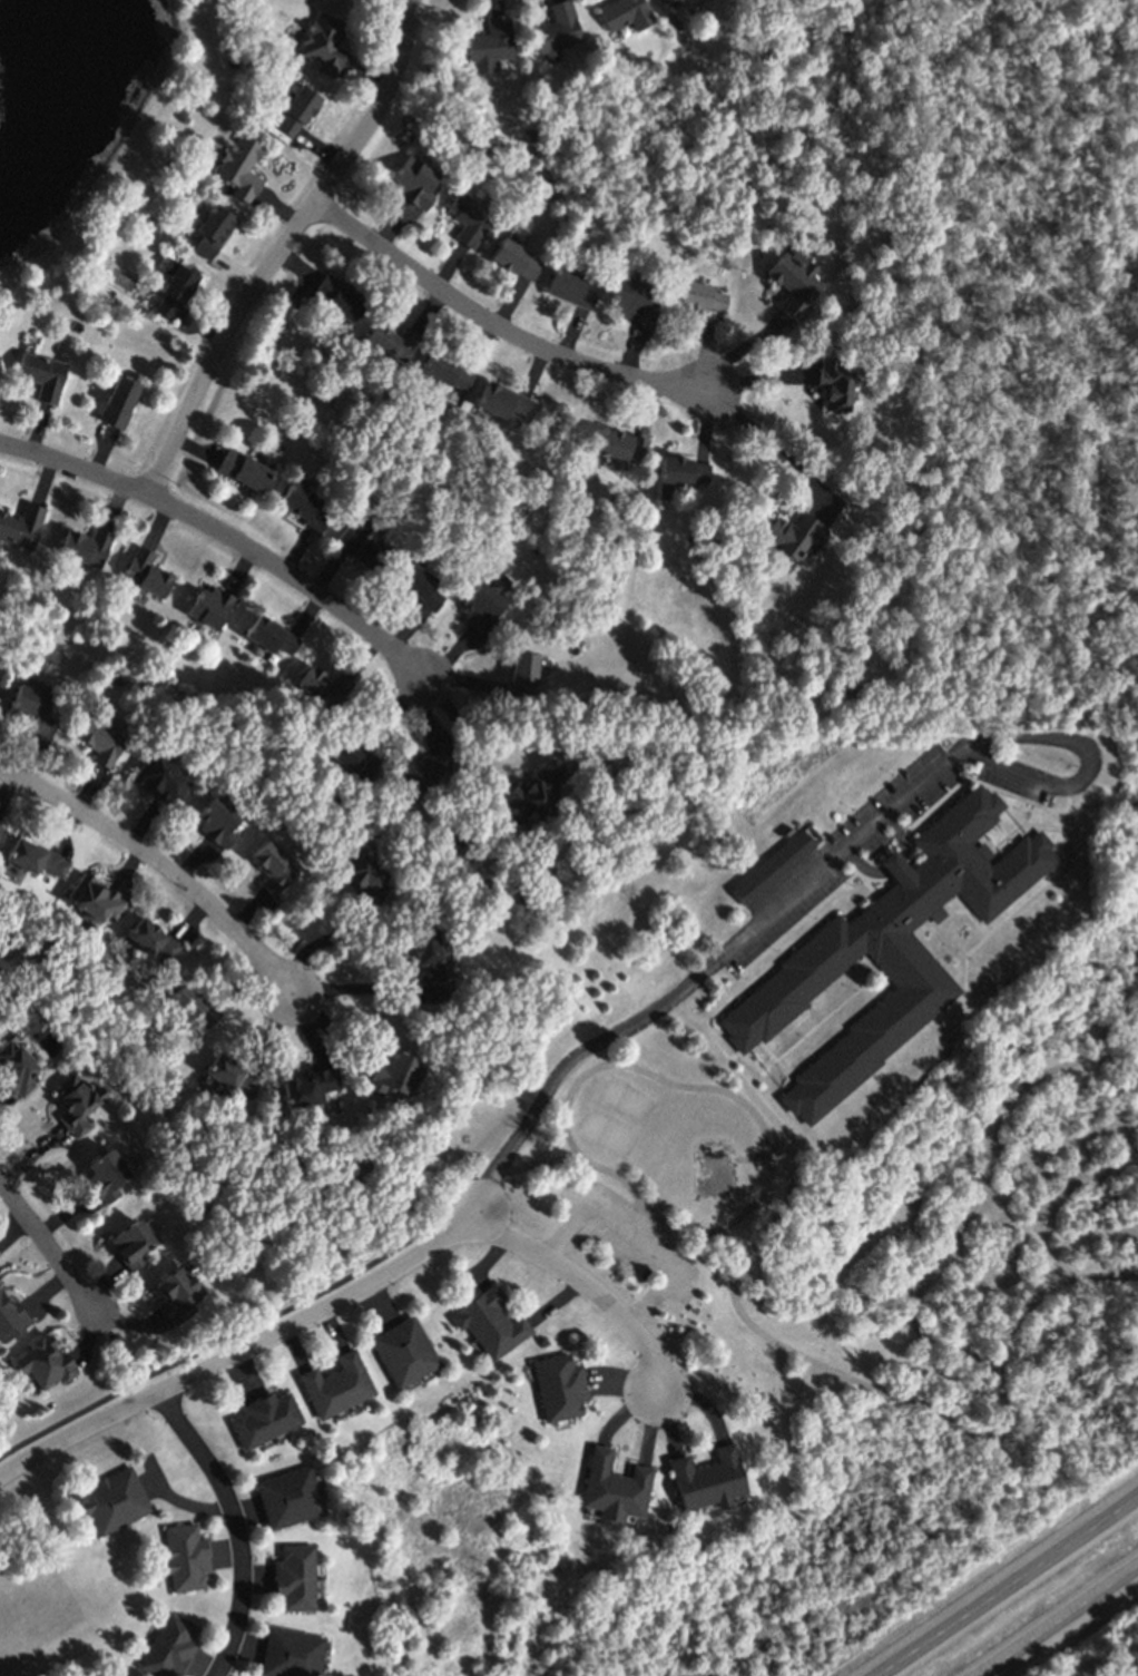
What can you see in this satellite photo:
building: (673, 2)
building: (624, 12)
building: (556, 30)
building: (323, 41)
building: (489, 42)
building: (295, 110)
building: (239, 165)
building: (413, 180)
building: (468, 216)
building: (212, 228)
building: (514, 257)
building: (794, 282)
building: (571, 286)
building: (171, 291)
building: (699, 295)
building: (337, 296)
building: (635, 300)
road: (242, 317)
road: (492, 323)
building: (391, 341)
building: (447, 369)
building: (41, 373)
building: (834, 383)
building: (118, 400)
building: (500, 400)
road: (765, 435)
building: (620, 443)
building: (243, 469)
building: (683, 469)
building: (303, 504)
building: (21, 523)
building: (794, 533)
building: (362, 542)
building: (86, 545)
building: (145, 571)
road: (295, 579)
building: (419, 584)
building: (209, 605)
building: (482, 607)
building: (269, 634)
building: (523, 670)
building: (323, 684)
building: (850, 690)
building: (29, 706)
building: (99, 739)
building: (353, 757)
building: (422, 767)
building: (159, 778)
building: (533, 792)
building: (218, 820)
building: (0, 823)
building: (33, 861)
road: (161, 861)
building: (771, 864)
building: (273, 866)
building: (362, 875)
building: (95, 898)
building: (151, 939)
building: (885, 950)
building: (425, 954)
road: (696, 972)
building: (189, 1004)
building: (16, 1066)
building: (230, 1072)
building: (392, 1072)
building: (307, 1087)
building: (76, 1101)
building: (106, 1174)
road: (631, 1224)
building: (131, 1241)
road: (49, 1247)
road: (595, 1282)
building: (177, 1292)
building: (8, 1315)
building: (490, 1320)
road: (246, 1324)
road: (119, 1344)
building: (403, 1349)
road: (245, 1354)
building: (43, 1360)
building: (336, 1383)
building: (559, 1384)
building: (264, 1417)
building: (708, 1477)
building: (614, 1487)
building: (288, 1494)
building: (110, 1498)
road: (239, 1527)
building: (184, 1555)
building: (294, 1575)
road: (1010, 1586)
road: (1057, 1621)
building: (168, 1645)
building: (290, 1653)
building: (120, 1675)

